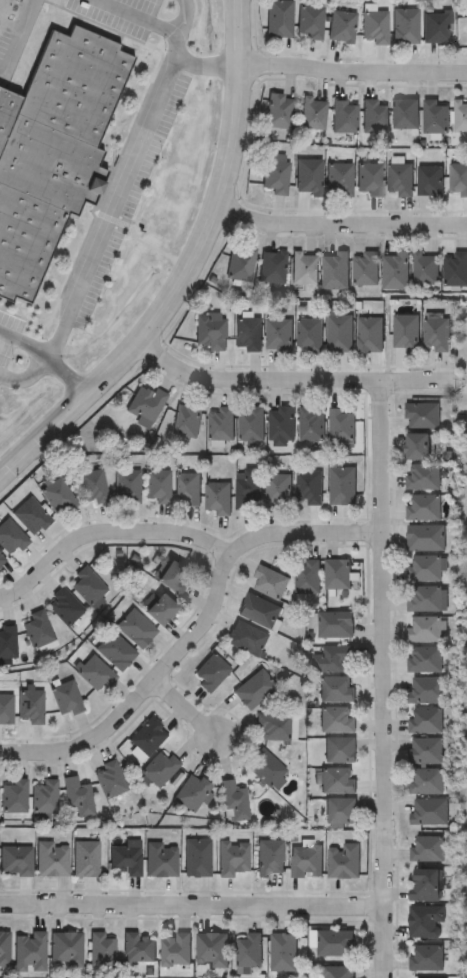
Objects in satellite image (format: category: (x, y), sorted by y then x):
road: (138, 17)
building: (278, 18)
building: (310, 21)
building: (404, 26)
building: (341, 27)
building: (374, 27)
building: (435, 27)
road: (19, 38)
road: (177, 56)
road: (352, 71)
building: (278, 111)
building: (312, 113)
building: (404, 114)
building: (344, 116)
building: (373, 116)
building: (435, 116)
building: (460, 117)
building: (54, 150)
building: (275, 175)
building: (308, 176)
building: (458, 178)
building: (338, 179)
building: (368, 179)
building: (399, 179)
building: (429, 180)
road: (112, 208)
road: (338, 228)
building: (240, 264)
building: (272, 267)
building: (365, 268)
building: (303, 269)
building: (425, 269)
building: (455, 269)
road: (187, 270)
building: (334, 271)
building: (395, 271)
building: (405, 331)
building: (209, 332)
building: (337, 332)
building: (435, 333)
building: (246, 334)
building: (368, 334)
building: (277, 335)
building: (308, 335)
road: (27, 339)
road: (26, 375)
road: (69, 376)
road: (460, 377)
road: (288, 383)
building: (144, 405)
building: (421, 415)
building: (186, 419)
building: (220, 424)
building: (251, 424)
building: (310, 424)
building: (340, 424)
building: (280, 425)
building: (417, 447)
building: (422, 477)
building: (342, 485)
building: (156, 486)
building: (92, 487)
building: (126, 487)
building: (308, 487)
building: (187, 488)
building: (247, 488)
building: (277, 490)
building: (56, 497)
building: (217, 498)
building: (422, 508)
building: (30, 517)
road: (105, 532)
building: (425, 537)
building: (11, 539)
building: (2, 562)
building: (425, 568)
building: (336, 574)
building: (307, 577)
building: (171, 579)
building: (269, 582)
building: (87, 586)
building: (426, 599)
building: (64, 607)
building: (158, 610)
building: (258, 611)
building: (335, 624)
building: (37, 629)
building: (134, 629)
building: (425, 629)
road: (194, 638)
building: (247, 639)
building: (7, 646)
building: (114, 651)
building: (332, 658)
building: (423, 659)
building: (93, 673)
building: (210, 673)
road: (379, 678)
building: (335, 688)
building: (253, 690)
building: (426, 690)
building: (65, 698)
building: (29, 706)
building: (5, 709)
road: (188, 710)
building: (336, 718)
building: (424, 719)
building: (272, 726)
building: (147, 735)
building: (339, 748)
building: (425, 749)
building: (265, 767)
building: (159, 768)
building: (109, 779)
building: (337, 779)
building: (426, 780)
building: (192, 792)
building: (14, 795)
building: (44, 796)
building: (78, 796)
building: (233, 799)
building: (429, 811)
building: (340, 812)
building: (426, 847)
building: (196, 857)
building: (269, 857)
building: (51, 858)
building: (84, 858)
building: (233, 858)
building: (14, 859)
building: (124, 859)
building: (160, 859)
building: (342, 860)
building: (305, 861)
building: (424, 884)
road: (190, 908)
building: (426, 921)
building: (332, 942)
building: (138, 947)
building: (4, 948)
building: (65, 948)
building: (175, 948)
building: (100, 949)
building: (211, 949)
building: (248, 949)
building: (29, 950)
building: (282, 951)
building: (426, 957)
building: (338, 972)

